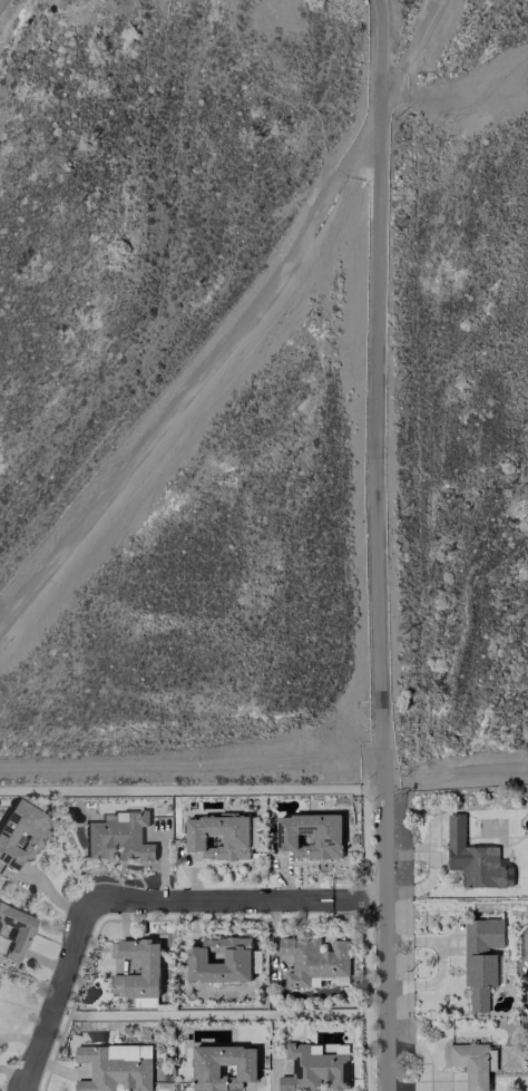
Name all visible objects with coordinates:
road: (377, 545)
road: (453, 769)
building: (20, 831)
building: (309, 835)
building: (118, 836)
building: (217, 836)
building: (475, 858)
road: (355, 897)
road: (207, 898)
building: (13, 931)
building: (479, 957)
building: (218, 958)
building: (313, 961)
building: (148, 965)
road: (52, 995)
building: (472, 1063)
building: (114, 1066)
building: (222, 1066)
building: (312, 1068)

